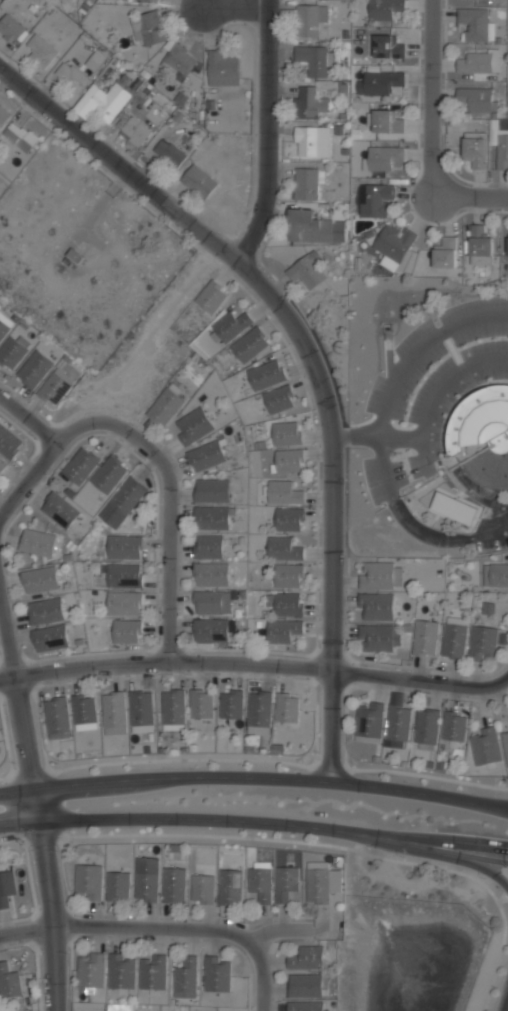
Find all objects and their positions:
building: (159, 0)
road: (234, 7)
building: (386, 9)
building: (310, 20)
building: (477, 23)
building: (150, 28)
building: (11, 29)
road: (209, 30)
road: (260, 45)
building: (387, 47)
building: (41, 50)
building: (95, 60)
building: (313, 60)
building: (180, 61)
building: (477, 62)
building: (222, 68)
building: (71, 76)
building: (379, 83)
road: (435, 99)
building: (479, 100)
building: (103, 101)
building: (308, 103)
building: (3, 115)
building: (386, 122)
building: (134, 129)
road: (269, 133)
building: (21, 135)
building: (312, 142)
building: (474, 152)
building: (502, 152)
building: (169, 153)
building: (384, 158)
building: (199, 182)
building: (306, 184)
road: (471, 196)
building: (375, 200)
building: (309, 228)
building: (397, 247)
building: (481, 247)
building: (446, 253)
building: (507, 255)
building: (73, 259)
building: (307, 271)
building: (212, 296)
building: (231, 324)
building: (4, 328)
building: (250, 344)
road: (420, 347)
parking lot: (485, 348)
building: (12, 352)
road: (307, 358)
building: (34, 370)
building: (266, 373)
building: (53, 389)
road: (436, 396)
building: (279, 399)
building: (166, 406)
building: (193, 425)
building: (287, 433)
road: (356, 434)
building: (483, 436)
building: (9, 443)
building: (206, 455)
road: (424, 455)
building: (289, 461)
road: (162, 463)
building: (80, 466)
building: (1, 467)
building: (108, 476)
road: (27, 479)
building: (212, 490)
building: (283, 491)
building: (127, 496)
building: (453, 507)
building: (60, 510)
building: (211, 518)
building: (289, 518)
road: (412, 525)
building: (38, 542)
building: (125, 547)
building: (208, 547)
building: (282, 547)
building: (211, 574)
building: (499, 574)
building: (289, 575)
building: (124, 576)
building: (378, 576)
building: (39, 580)
building: (211, 603)
building: (286, 603)
building: (124, 604)
building: (376, 607)
building: (46, 611)
building: (282, 630)
building: (210, 631)
building: (126, 632)
building: (426, 637)
building: (50, 638)
building: (378, 638)
building: (454, 641)
building: (483, 643)
road: (165, 659)
road: (422, 678)
road: (18, 689)
building: (201, 705)
building: (231, 705)
building: (173, 708)
building: (141, 709)
building: (287, 709)
building: (84, 712)
building: (113, 713)
building: (259, 713)
building: (57, 717)
building: (369, 719)
building: (397, 720)
building: (426, 726)
building: (454, 727)
building: (505, 743)
building: (485, 747)
road: (374, 770)
road: (255, 777)
road: (504, 808)
road: (255, 819)
road: (429, 854)
building: (88, 882)
building: (285, 884)
building: (259, 885)
building: (317, 885)
building: (173, 886)
building: (6, 887)
building: (117, 887)
building: (146, 888)
building: (229, 888)
building: (202, 890)
road: (46, 898)
road: (162, 930)
building: (307, 959)
road: (260, 967)
building: (91, 971)
building: (121, 972)
building: (152, 974)
building: (216, 975)
building: (185, 979)
building: (9, 982)
building: (305, 987)
building: (305, 1007)
road: (507, 1010)

